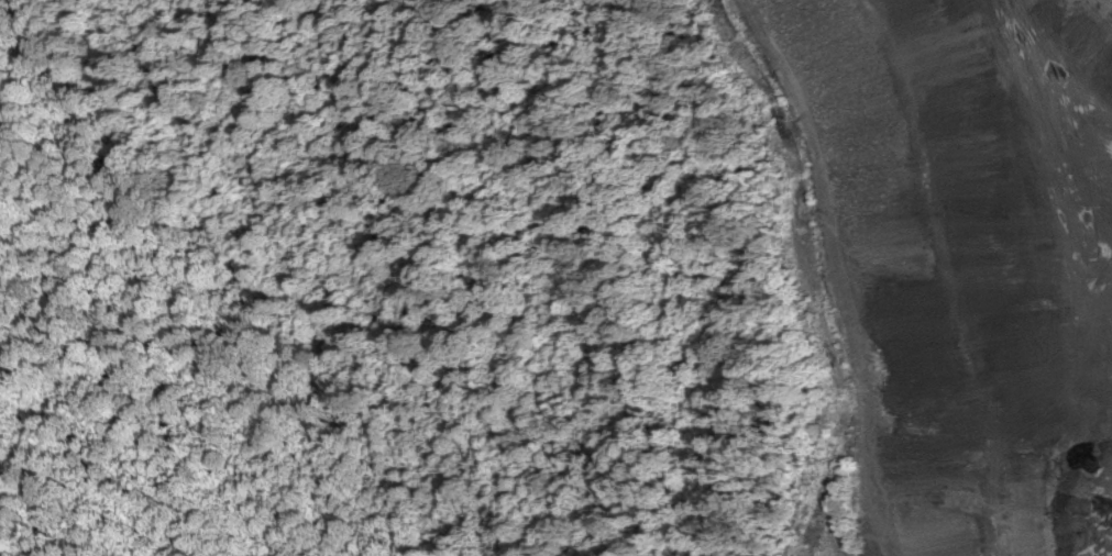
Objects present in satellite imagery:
quarry: (931, 267)

